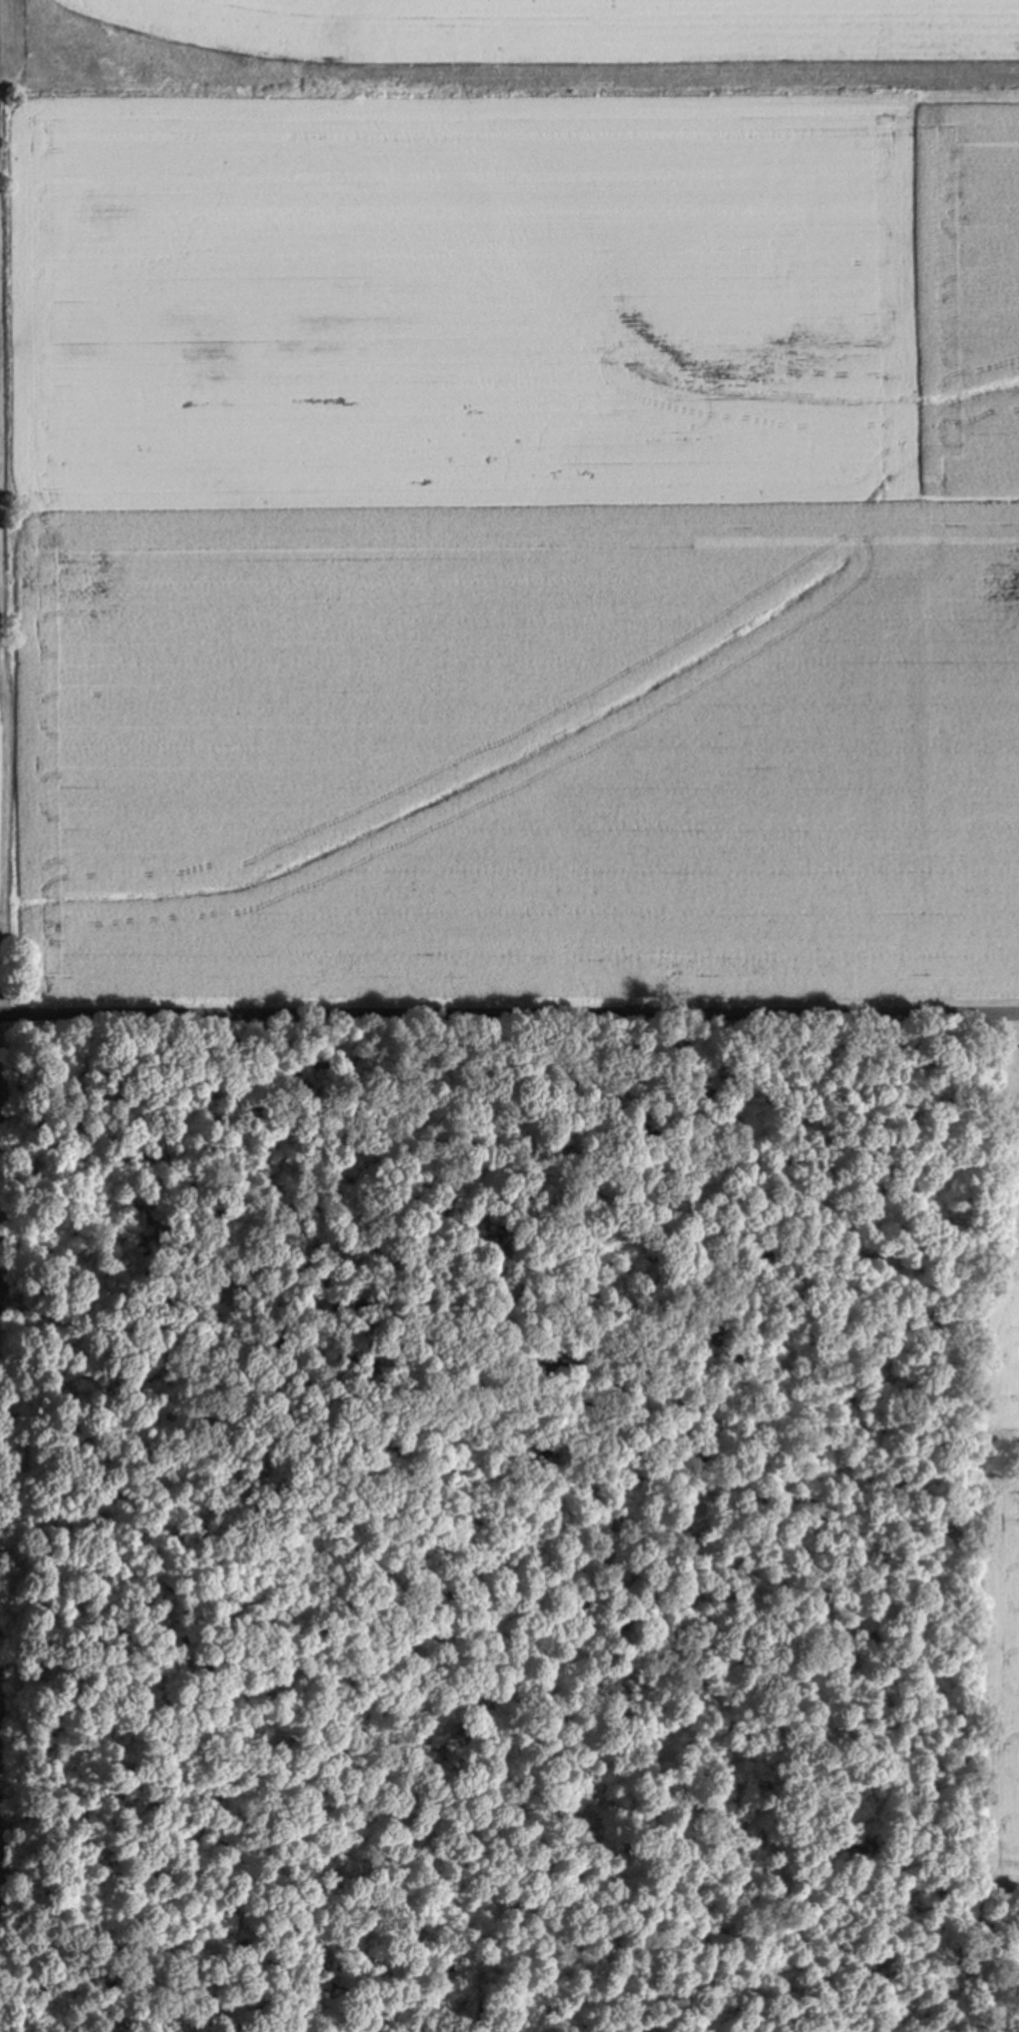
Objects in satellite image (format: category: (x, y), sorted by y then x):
road: (2, 763)
road: (509, 1015)

